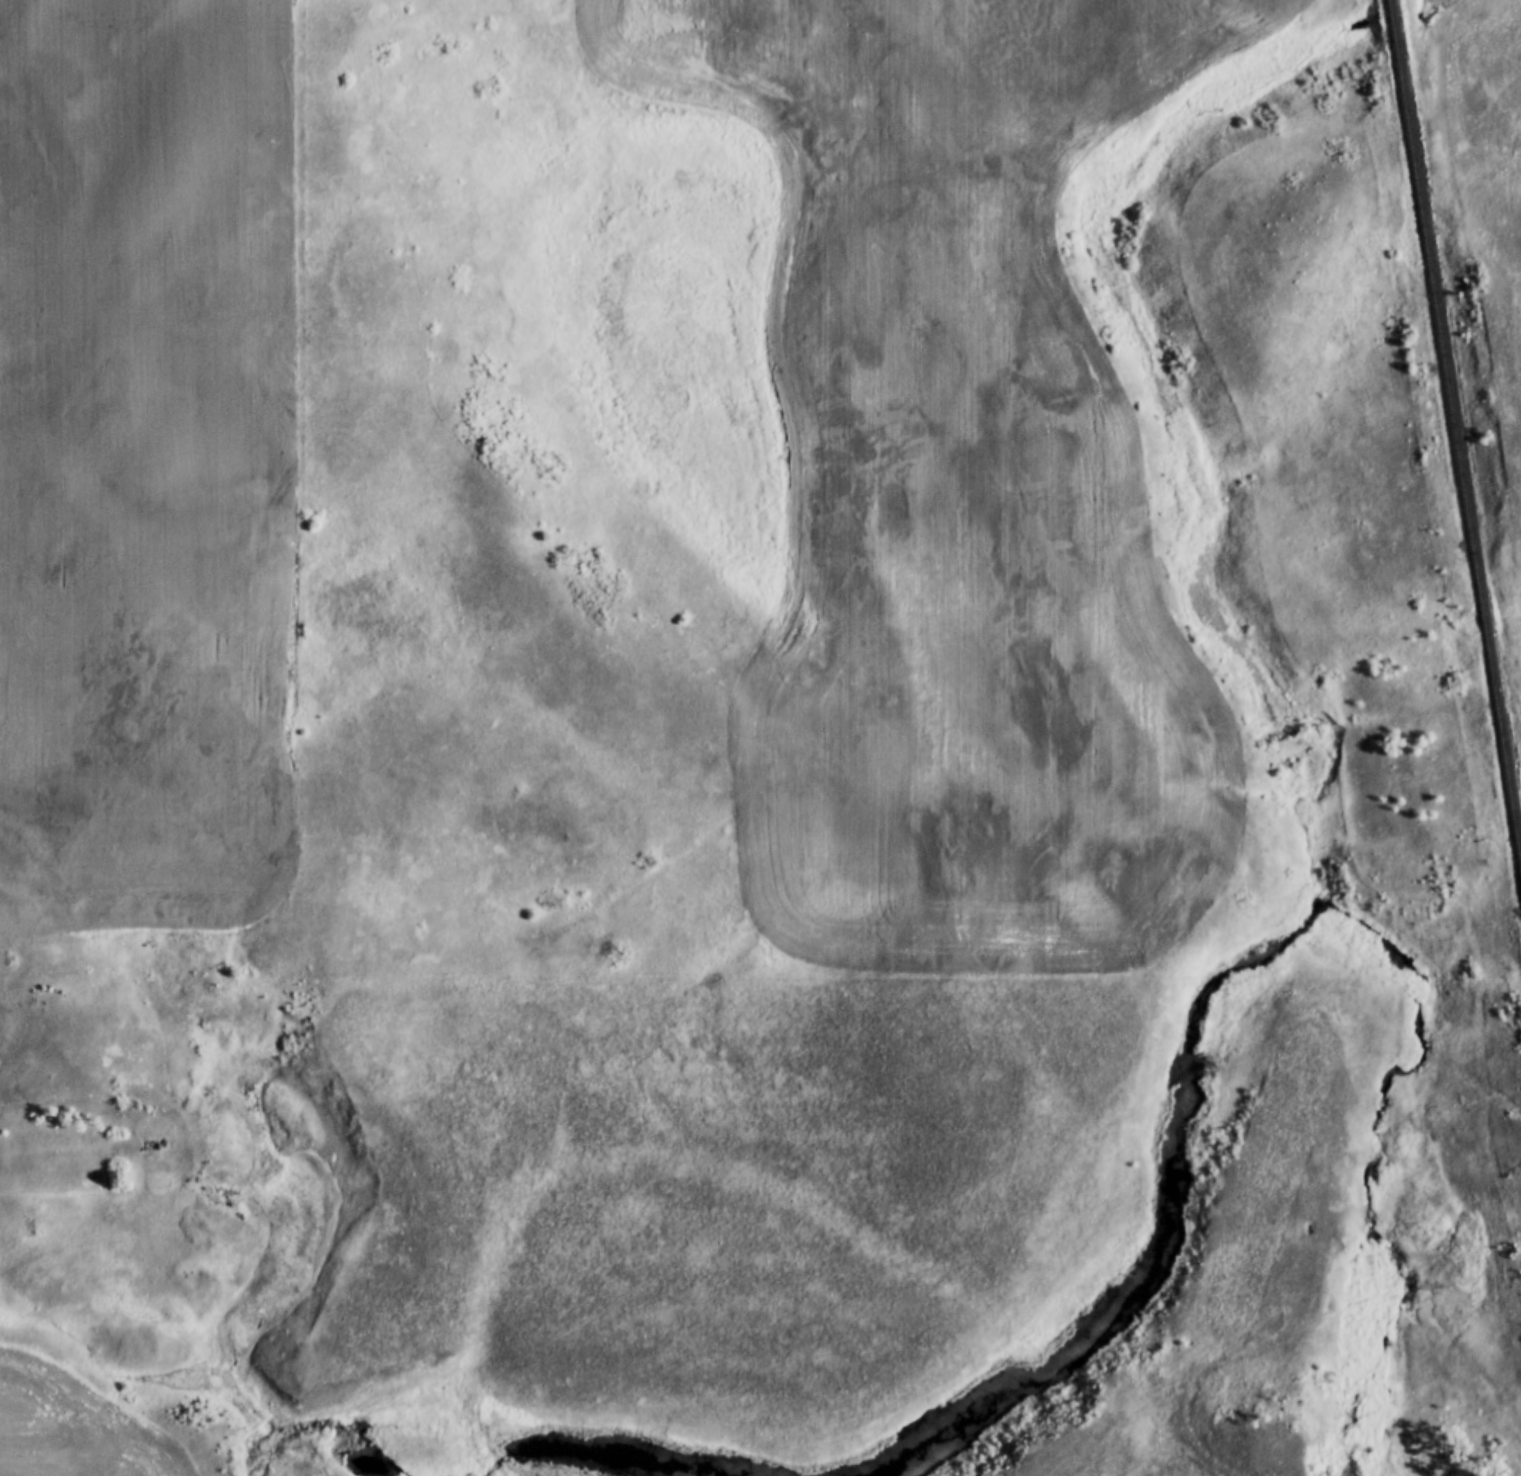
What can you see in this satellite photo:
railway: (1455, 448)

